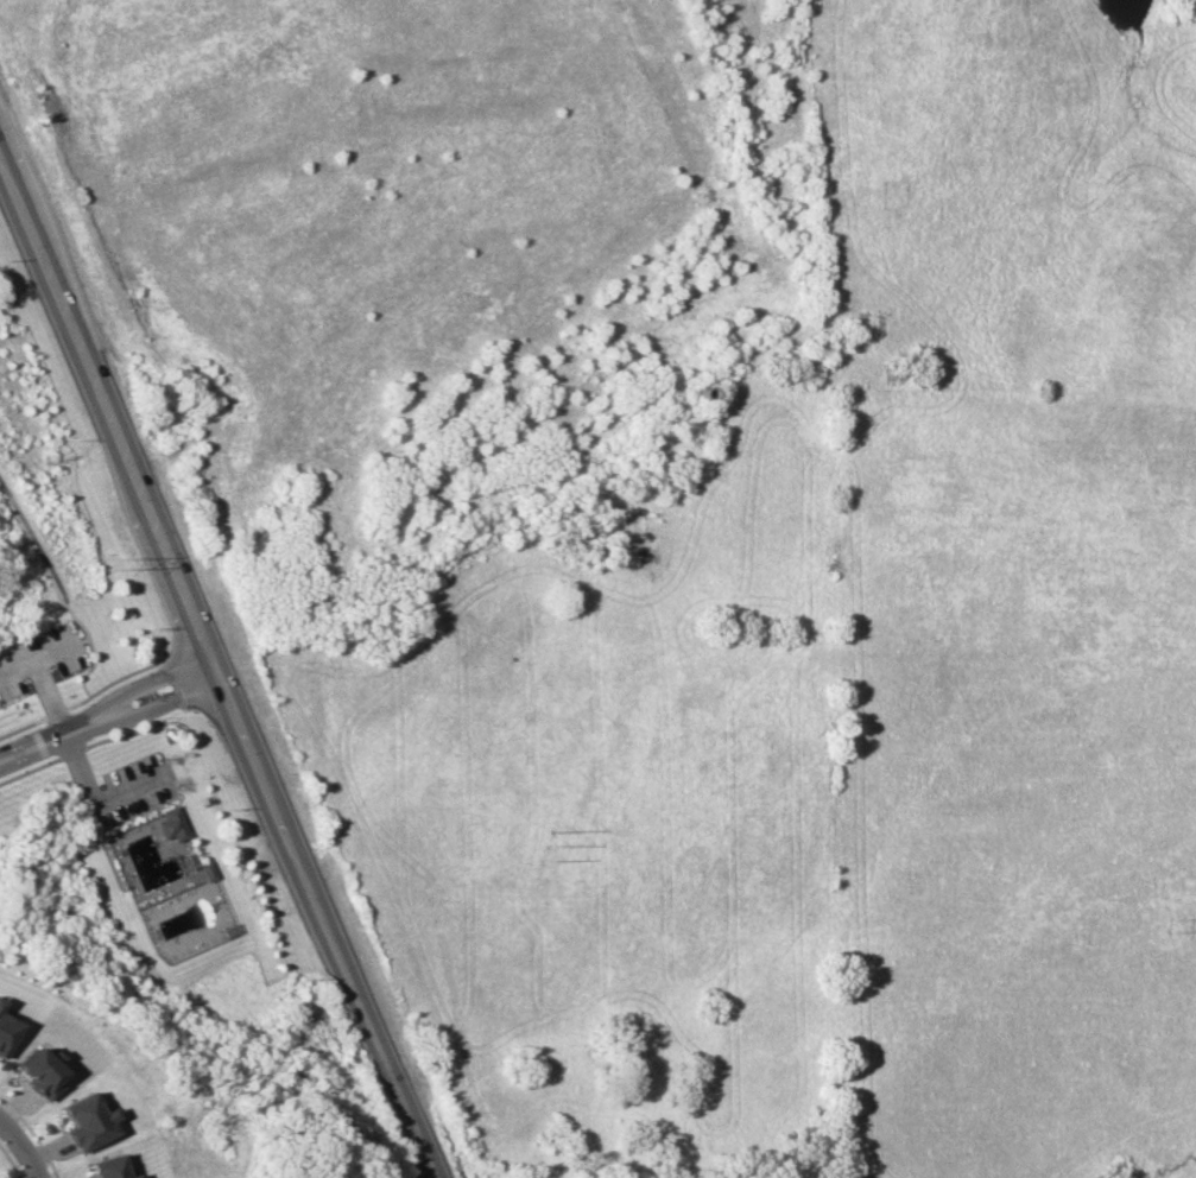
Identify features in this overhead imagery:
power tower: (118, 564)
road: (62, 590)
road: (220, 661)
road: (110, 714)
road: (94, 799)
building: (170, 824)
power tower: (544, 847)
power tower: (1170, 926)
building: (6, 1033)
building: (38, 1071)
building: (84, 1121)
road: (21, 1146)
building: (106, 1167)

